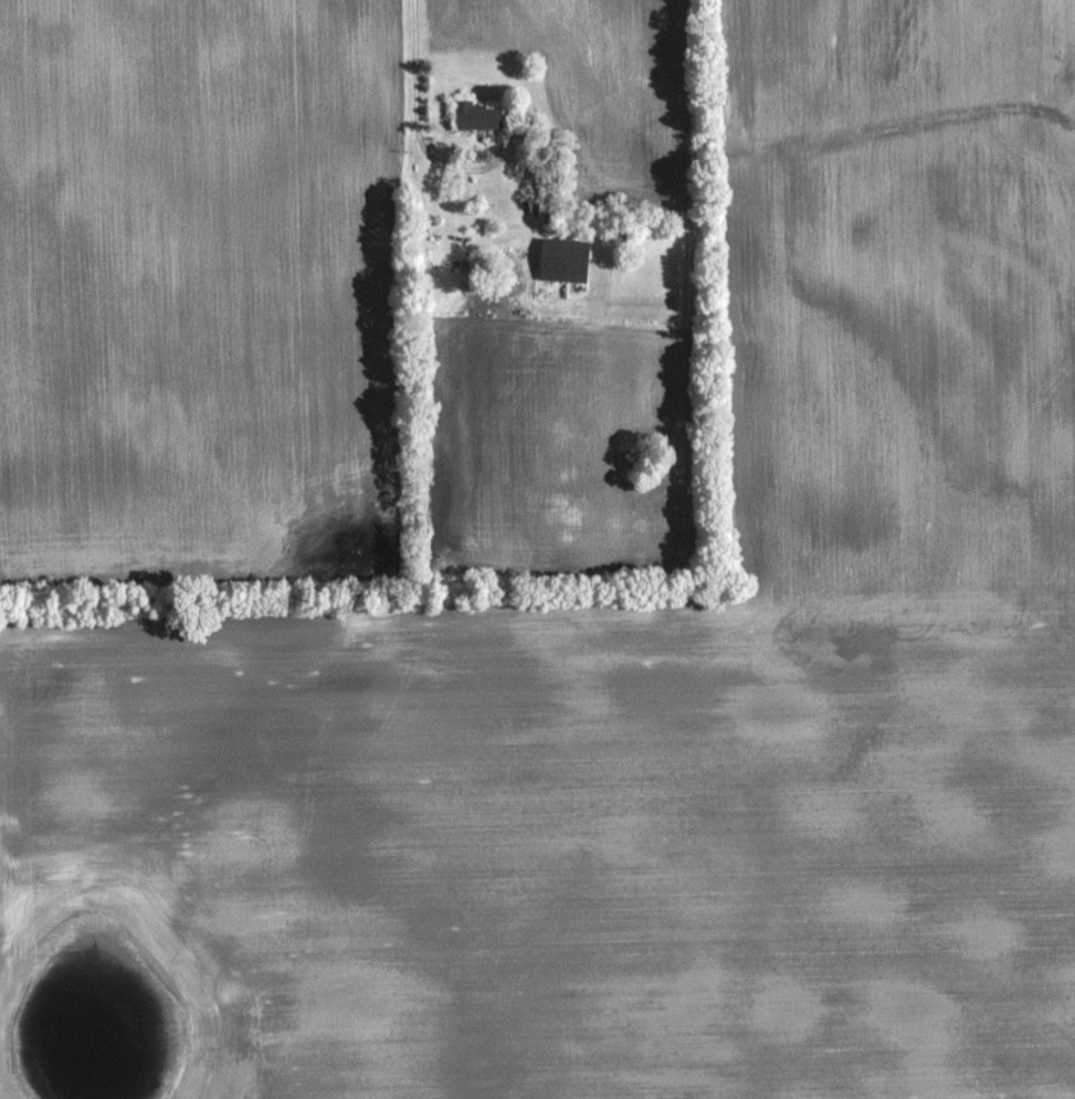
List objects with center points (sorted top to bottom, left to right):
road: (420, 116)
building: (476, 116)
building: (565, 260)

